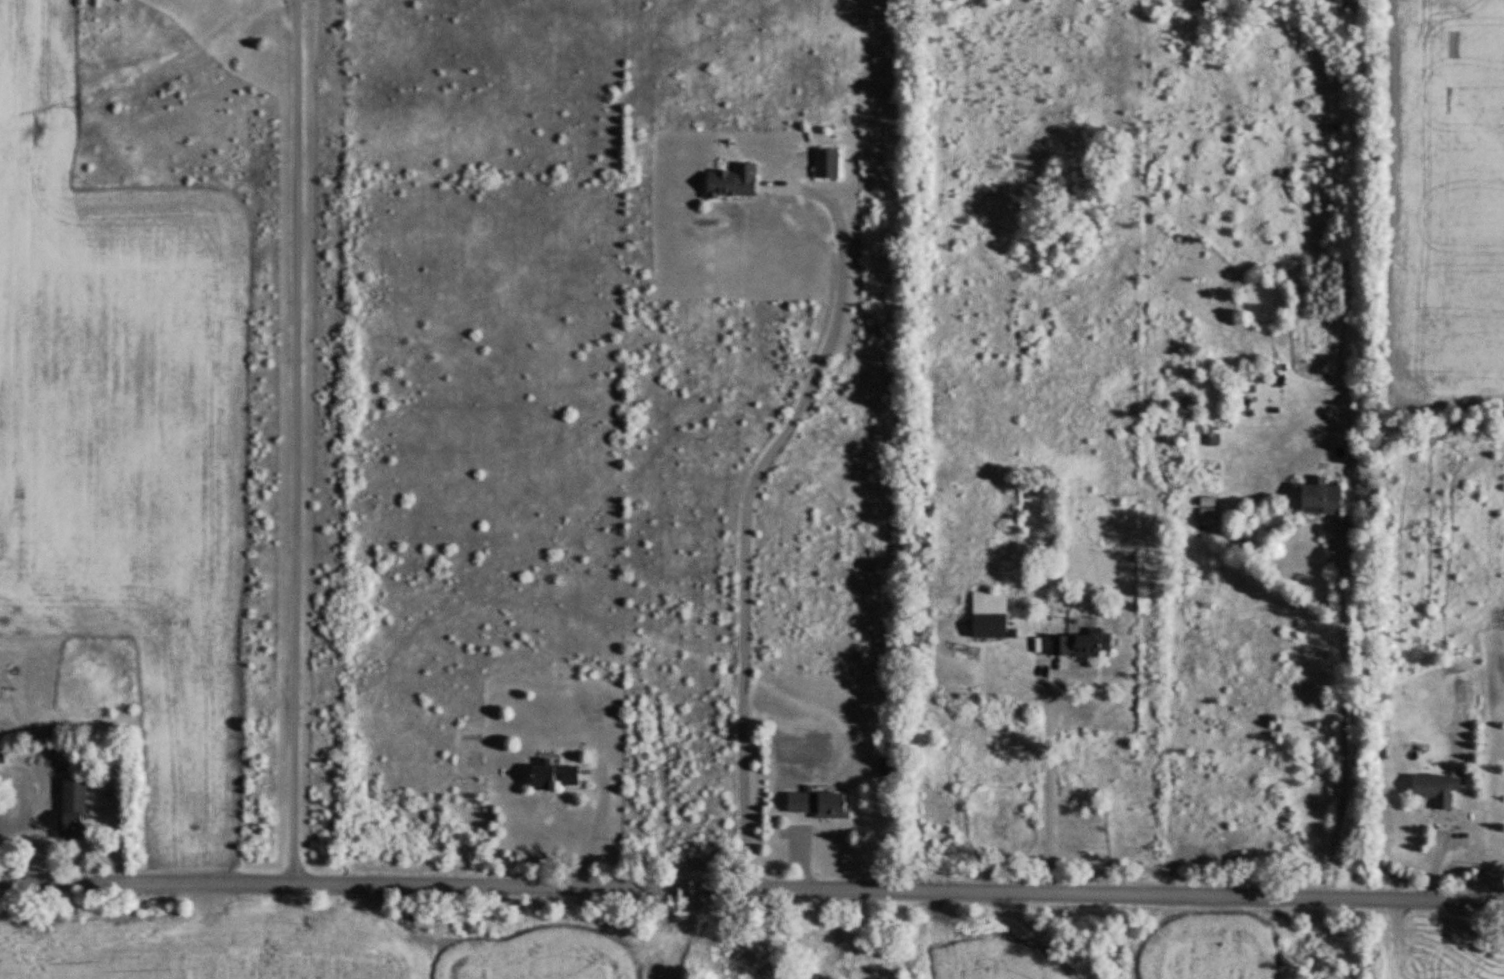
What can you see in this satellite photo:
building: (826, 164)
building: (733, 183)
road: (297, 443)
building: (1321, 497)
road: (751, 514)
building: (989, 616)
building: (1082, 645)
road: (1341, 724)
building: (2, 753)
building: (555, 777)
road: (1050, 783)
building: (1436, 790)
building: (818, 805)
building: (73, 811)
road: (41, 828)
road: (592, 828)
road: (751, 893)

